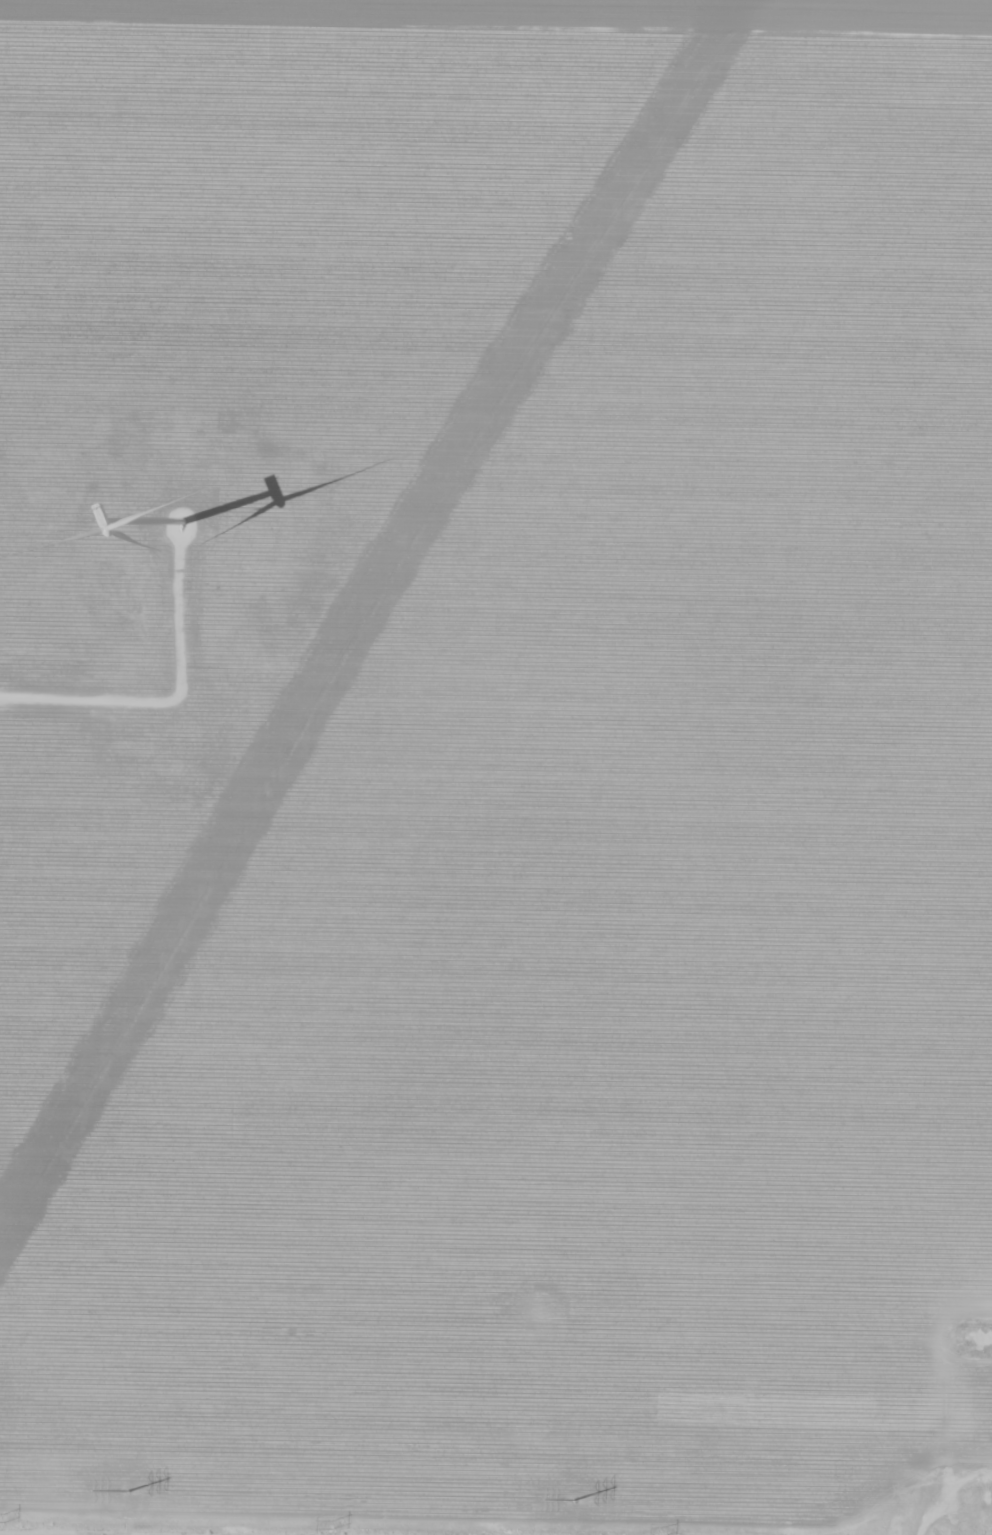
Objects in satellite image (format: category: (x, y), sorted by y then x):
wind turbine: (175, 537)
power tower: (126, 1492)
power tower: (574, 1500)
road: (947, 1515)
power tower: (2, 1516)
power tower: (329, 1524)
power tower: (659, 1531)

